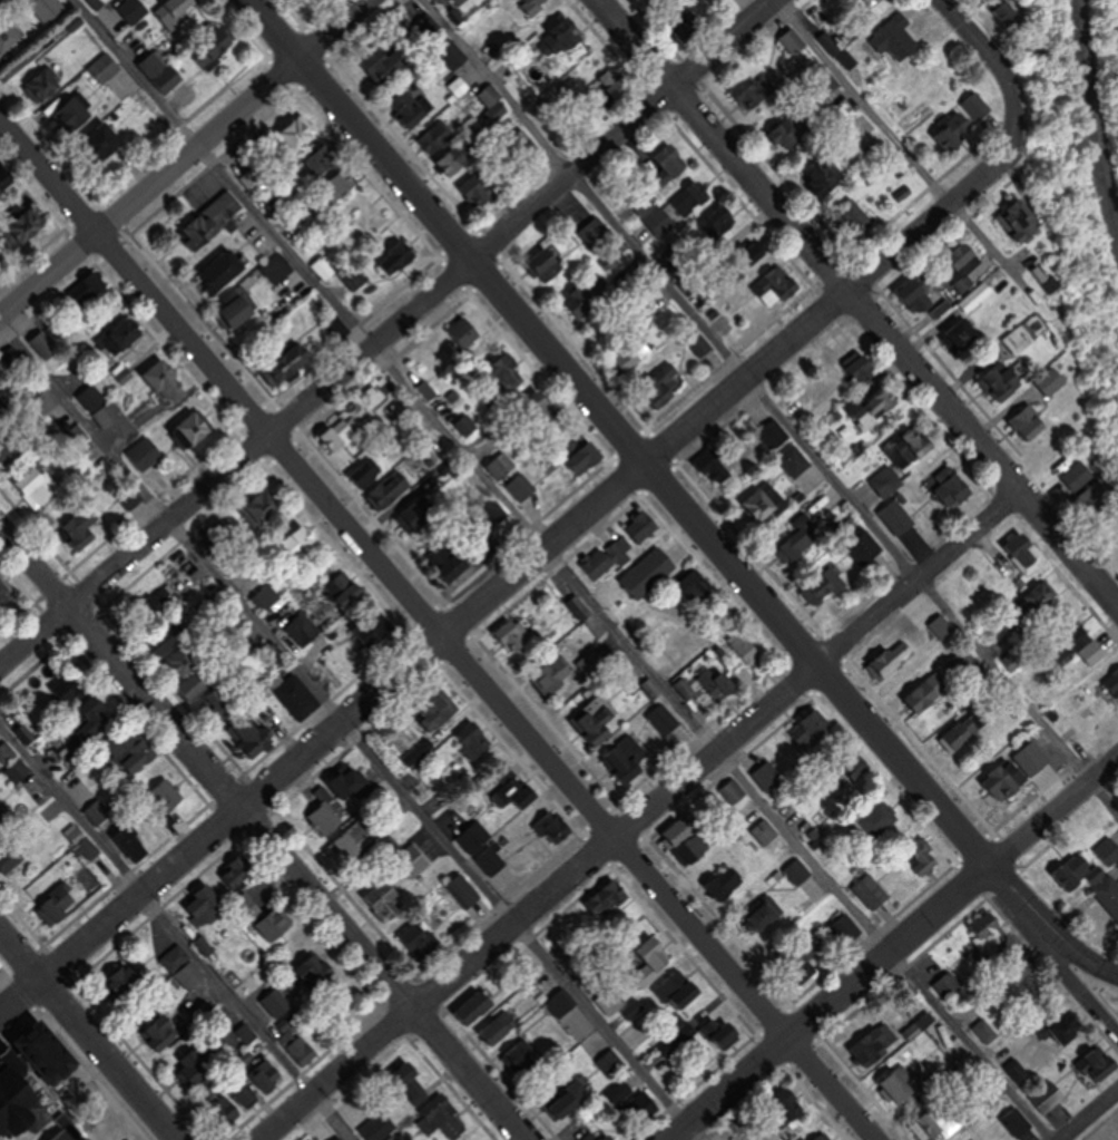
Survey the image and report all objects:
building: (880, 0)
building: (458, 2)
building: (48, 8)
building: (135, 9)
building: (10, 35)
building: (899, 37)
road: (990, 40)
building: (832, 43)
road: (634, 45)
building: (160, 69)
building: (389, 69)
building: (46, 84)
building: (490, 96)
building: (414, 107)
building: (75, 115)
road: (360, 130)
building: (301, 131)
building: (791, 131)
railway: (1088, 131)
building: (954, 134)
road: (911, 149)
road: (185, 159)
building: (324, 159)
building: (675, 162)
building: (2, 174)
building: (818, 174)
building: (254, 178)
building: (341, 184)
building: (646, 201)
building: (683, 206)
building: (861, 218)
building: (213, 220)
building: (1027, 221)
building: (719, 222)
building: (596, 235)
building: (669, 257)
building: (547, 264)
building: (227, 269)
road: (136, 275)
building: (356, 275)
building: (1055, 276)
building: (970, 282)
building: (777, 288)
building: (924, 291)
building: (241, 306)
road: (388, 334)
building: (473, 335)
building: (969, 335)
building: (1027, 339)
building: (703, 344)
building: (43, 345)
road: (893, 347)
building: (509, 373)
building: (1062, 380)
building: (166, 383)
building: (1003, 383)
building: (429, 390)
road: (771, 405)
building: (99, 406)
building: (867, 410)
building: (547, 411)
building: (468, 425)
building: (194, 428)
building: (776, 433)
building: (340, 435)
building: (926, 449)
building: (146, 452)
building: (6, 454)
building: (587, 458)
building: (798, 460)
building: (502, 465)
building: (718, 467)
building: (371, 471)
building: (892, 480)
building: (36, 486)
building: (521, 487)
building: (959, 488)
building: (389, 490)
building: (766, 503)
building: (263, 506)
building: (902, 517)
building: (415, 519)
building: (640, 519)
building: (81, 527)
building: (223, 530)
building: (298, 542)
building: (803, 544)
building: (867, 546)
building: (437, 553)
road: (529, 558)
building: (1032, 558)
building: (606, 561)
building: (658, 562)
road: (733, 563)
road: (36, 567)
road: (565, 569)
building: (826, 587)
building: (6, 591)
building: (1041, 602)
building: (302, 629)
building: (943, 629)
building: (514, 634)
building: (1098, 643)
building: (753, 654)
building: (894, 659)
building: (591, 663)
building: (1116, 676)
building: (548, 680)
building: (719, 685)
building: (70, 686)
building: (686, 688)
building: (301, 700)
building: (219, 703)
building: (438, 713)
building: (664, 719)
building: (596, 721)
road: (347, 730)
building: (253, 737)
building: (471, 741)
building: (7, 752)
building: (626, 761)
building: (759, 776)
building: (1012, 779)
building: (506, 787)
road: (576, 787)
building: (733, 791)
building: (169, 795)
building: (336, 799)
building: (98, 811)
road: (644, 815)
building: (881, 818)
building: (1, 821)
building: (684, 828)
building: (766, 830)
building: (134, 844)
building: (90, 847)
building: (346, 848)
building: (483, 848)
building: (1110, 850)
building: (921, 854)
building: (412, 859)
building: (800, 870)
building: (236, 873)
road: (298, 874)
building: (728, 881)
building: (464, 890)
building: (873, 890)
building: (1109, 891)
building: (388, 898)
building: (59, 904)
building: (203, 905)
building: (247, 908)
building: (764, 914)
road: (1050, 925)
building: (274, 927)
building: (990, 927)
road: (176, 933)
building: (421, 939)
building: (206, 945)
road: (894, 948)
building: (653, 962)
building: (804, 966)
building: (184, 967)
building: (315, 972)
road: (1070, 976)
building: (125, 982)
building: (950, 985)
building: (681, 991)
building: (612, 1001)
building: (561, 1002)
building: (279, 1004)
building: (502, 1022)
building: (1072, 1029)
building: (988, 1031)
building: (163, 1032)
building: (723, 1032)
road: (88, 1034)
building: (879, 1044)
building: (301, 1048)
building: (612, 1062)
building: (1020, 1070)
building: (411, 1082)
building: (258, 1090)
building: (575, 1098)
building: (797, 1107)
road: (1086, 1112)
building: (32, 1115)
building: (442, 1118)
building: (943, 1123)
building: (386, 1132)
building: (328, 1134)
building: (68, 1137)
building: (823, 1138)
building: (601, 1139)

